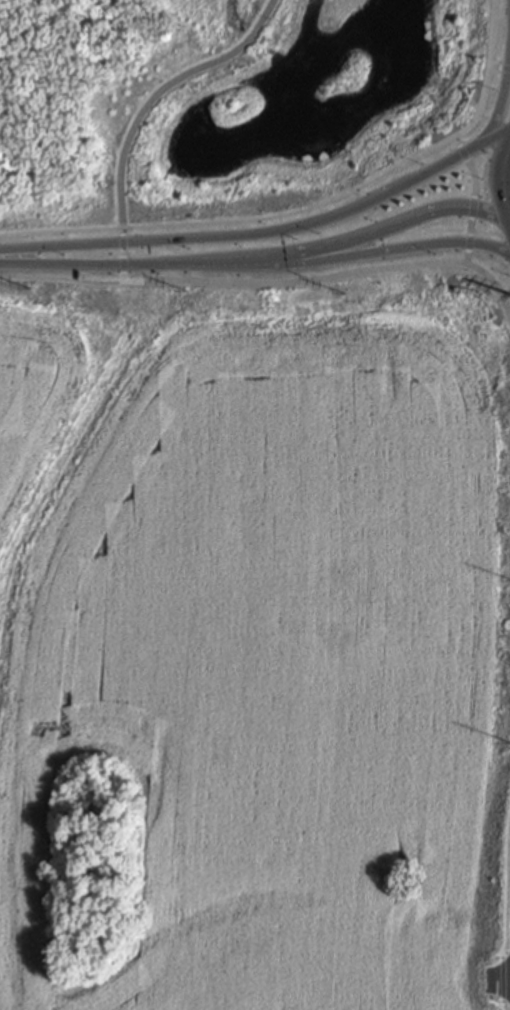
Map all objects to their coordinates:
road: (501, 68)
road: (163, 91)
road: (502, 109)
park: (253, 122)
road: (449, 164)
road: (500, 173)
road: (394, 182)
road: (369, 185)
road: (478, 198)
road: (62, 232)
road: (197, 238)
road: (351, 238)
road: (403, 248)
road: (125, 256)
road: (94, 264)
road: (243, 265)
road: (174, 271)
road: (153, 272)
road: (309, 272)
road: (62, 279)
road: (327, 279)
road: (506, 286)
power tower: (30, 288)
power tower: (185, 292)
power tower: (341, 294)
crop: (256, 638)
road: (506, 910)
road: (503, 969)

